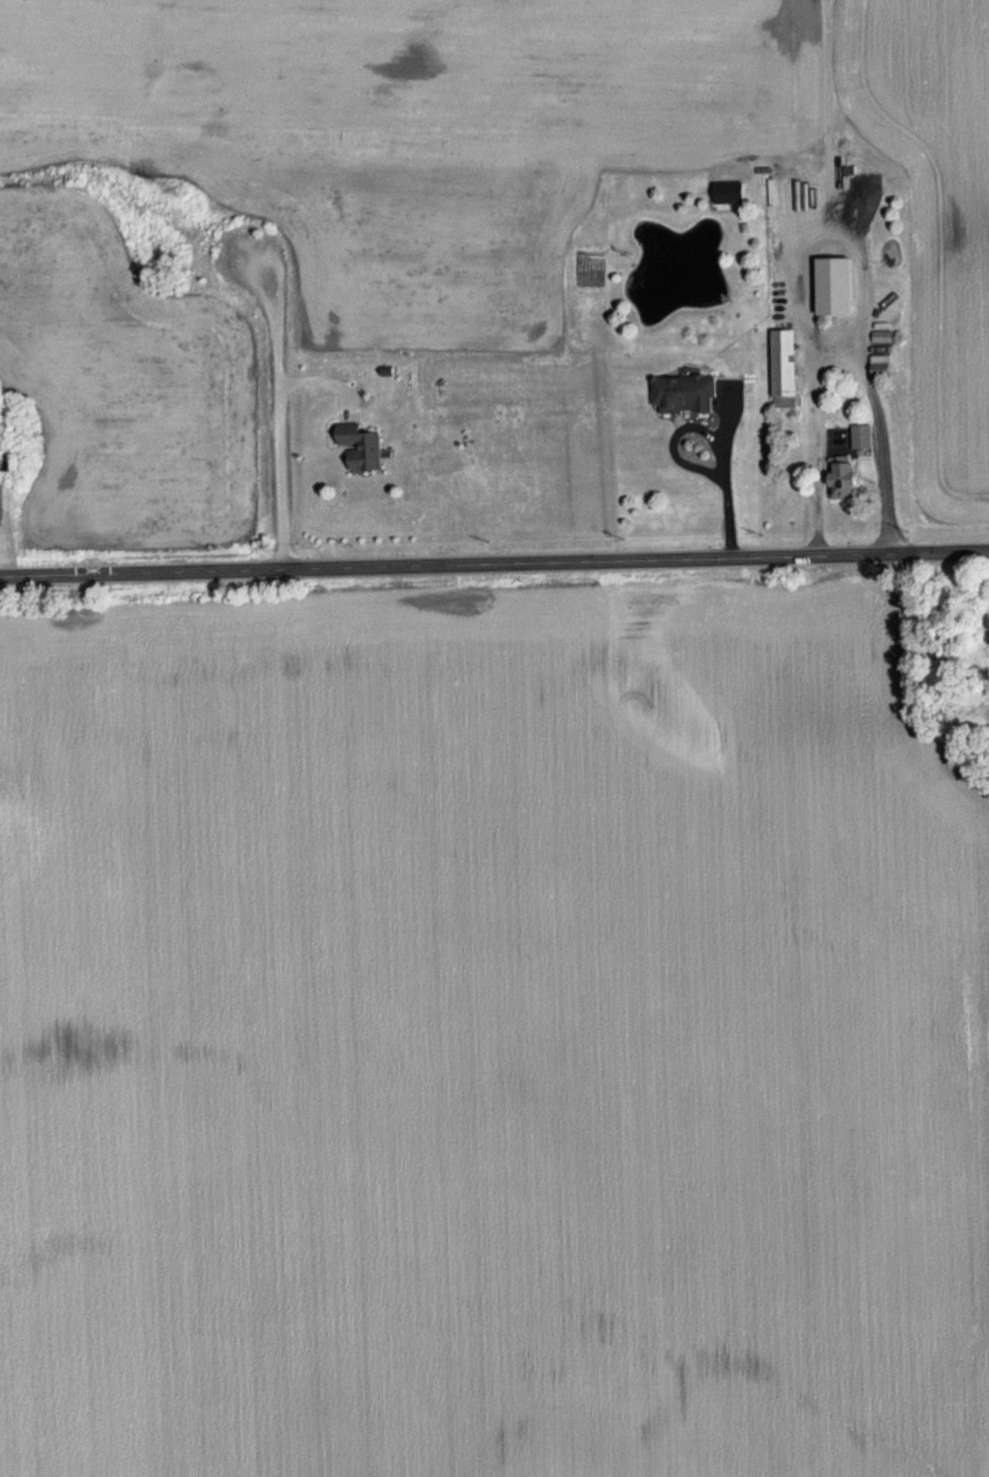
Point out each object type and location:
power tower: (177, 186)
building: (729, 190)
crop: (326, 198)
crop: (936, 217)
building: (830, 284)
building: (883, 334)
road: (839, 348)
building: (783, 361)
building: (880, 363)
building: (684, 391)
road: (278, 414)
building: (862, 434)
building: (360, 444)
road: (723, 472)
building: (843, 475)
road: (494, 566)

